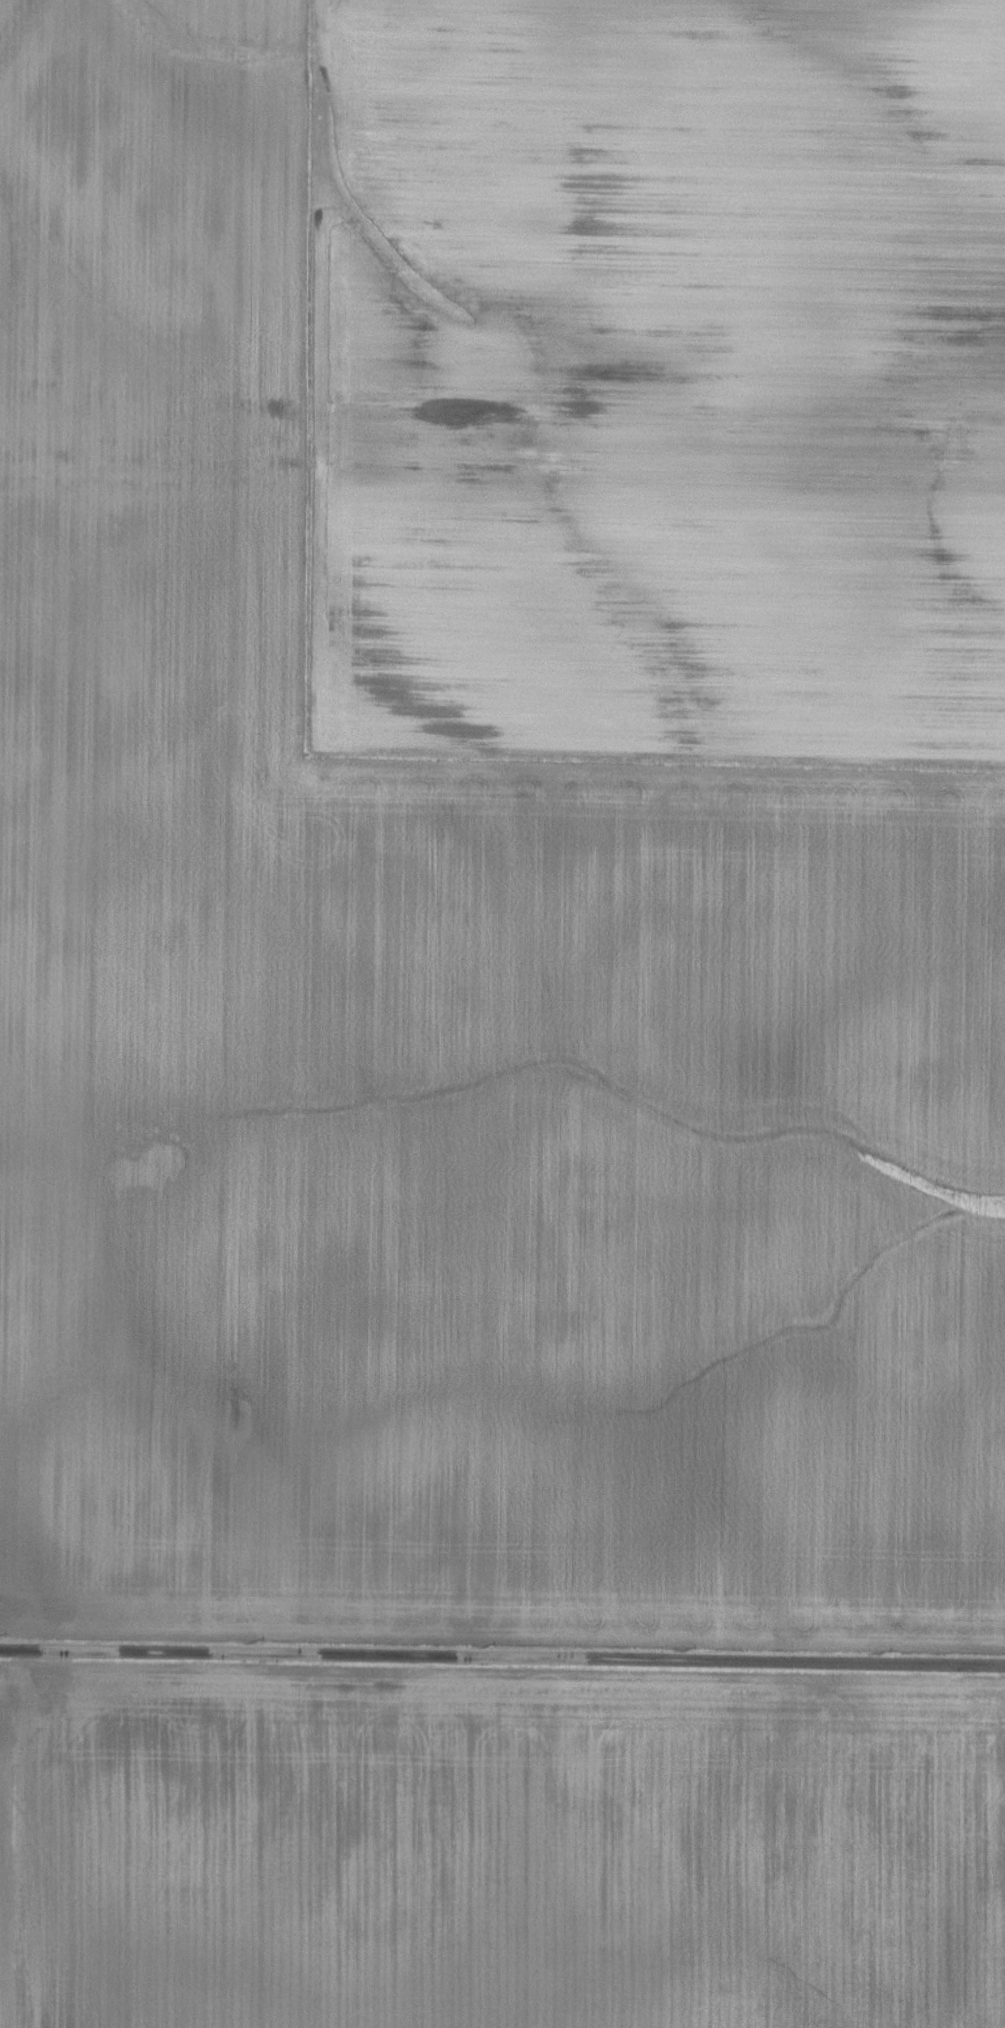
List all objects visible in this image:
road: (502, 1657)

